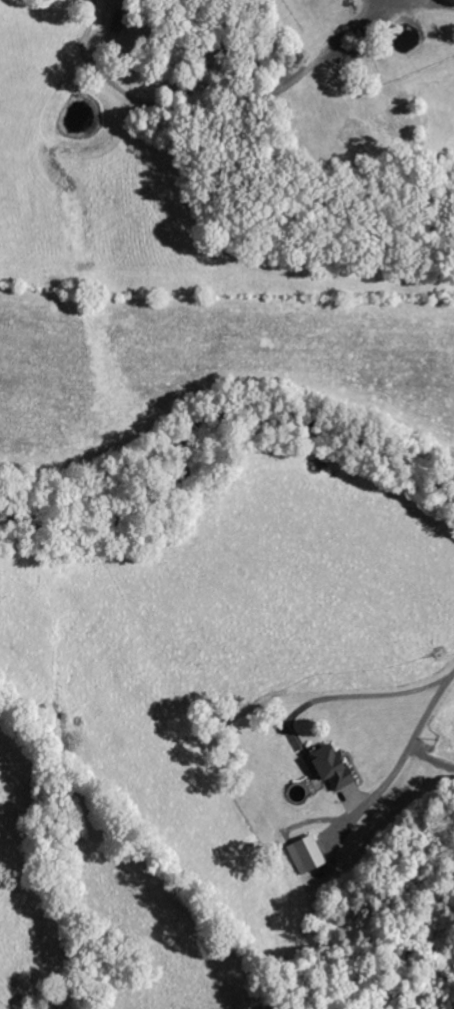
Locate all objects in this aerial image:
building: (334, 768)
building: (307, 855)

